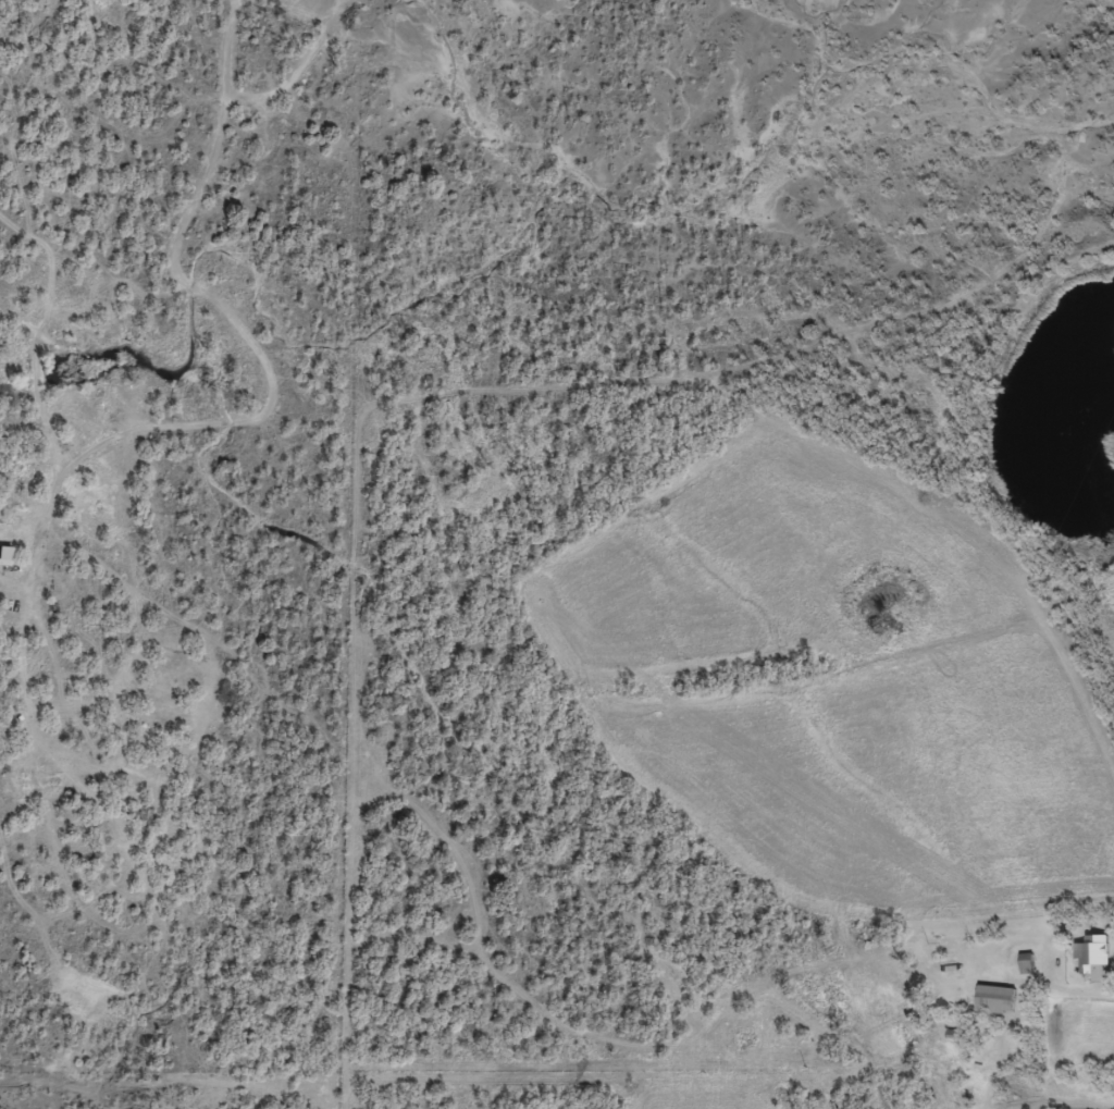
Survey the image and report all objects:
building: (2, 563)
building: (1089, 965)
building: (991, 1008)

